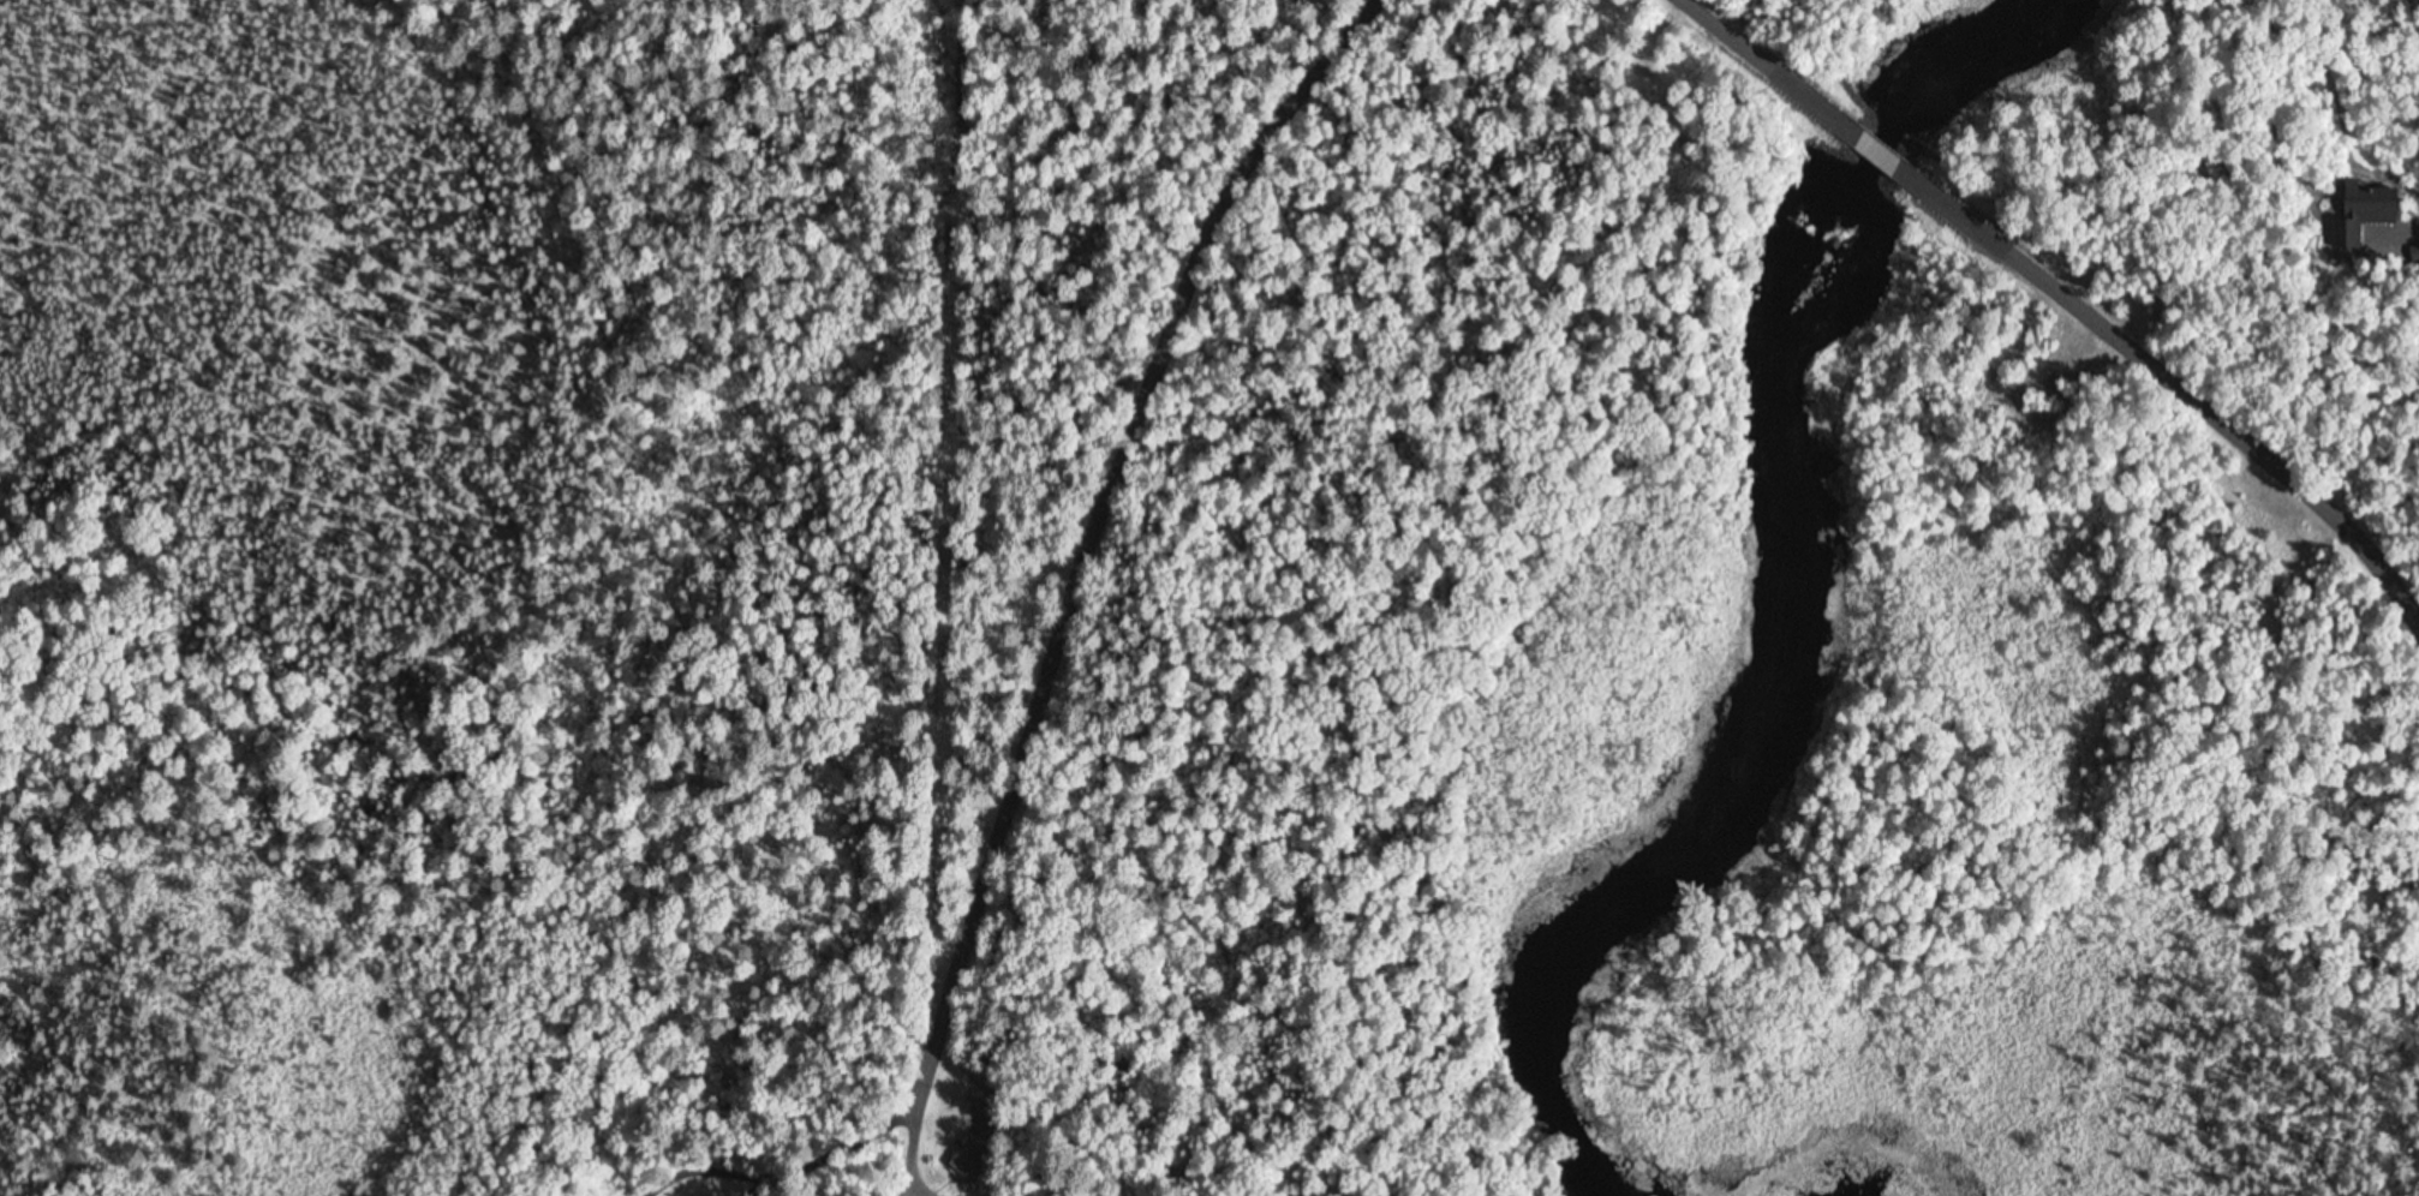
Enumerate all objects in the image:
road: (1761, 67)
road: (1875, 149)
building: (2376, 207)
road: (2180, 413)
river: (1770, 603)
road: (1049, 634)
road: (1031, 962)
building: (973, 1154)
road: (1127, 1171)
road: (1482, 1190)

